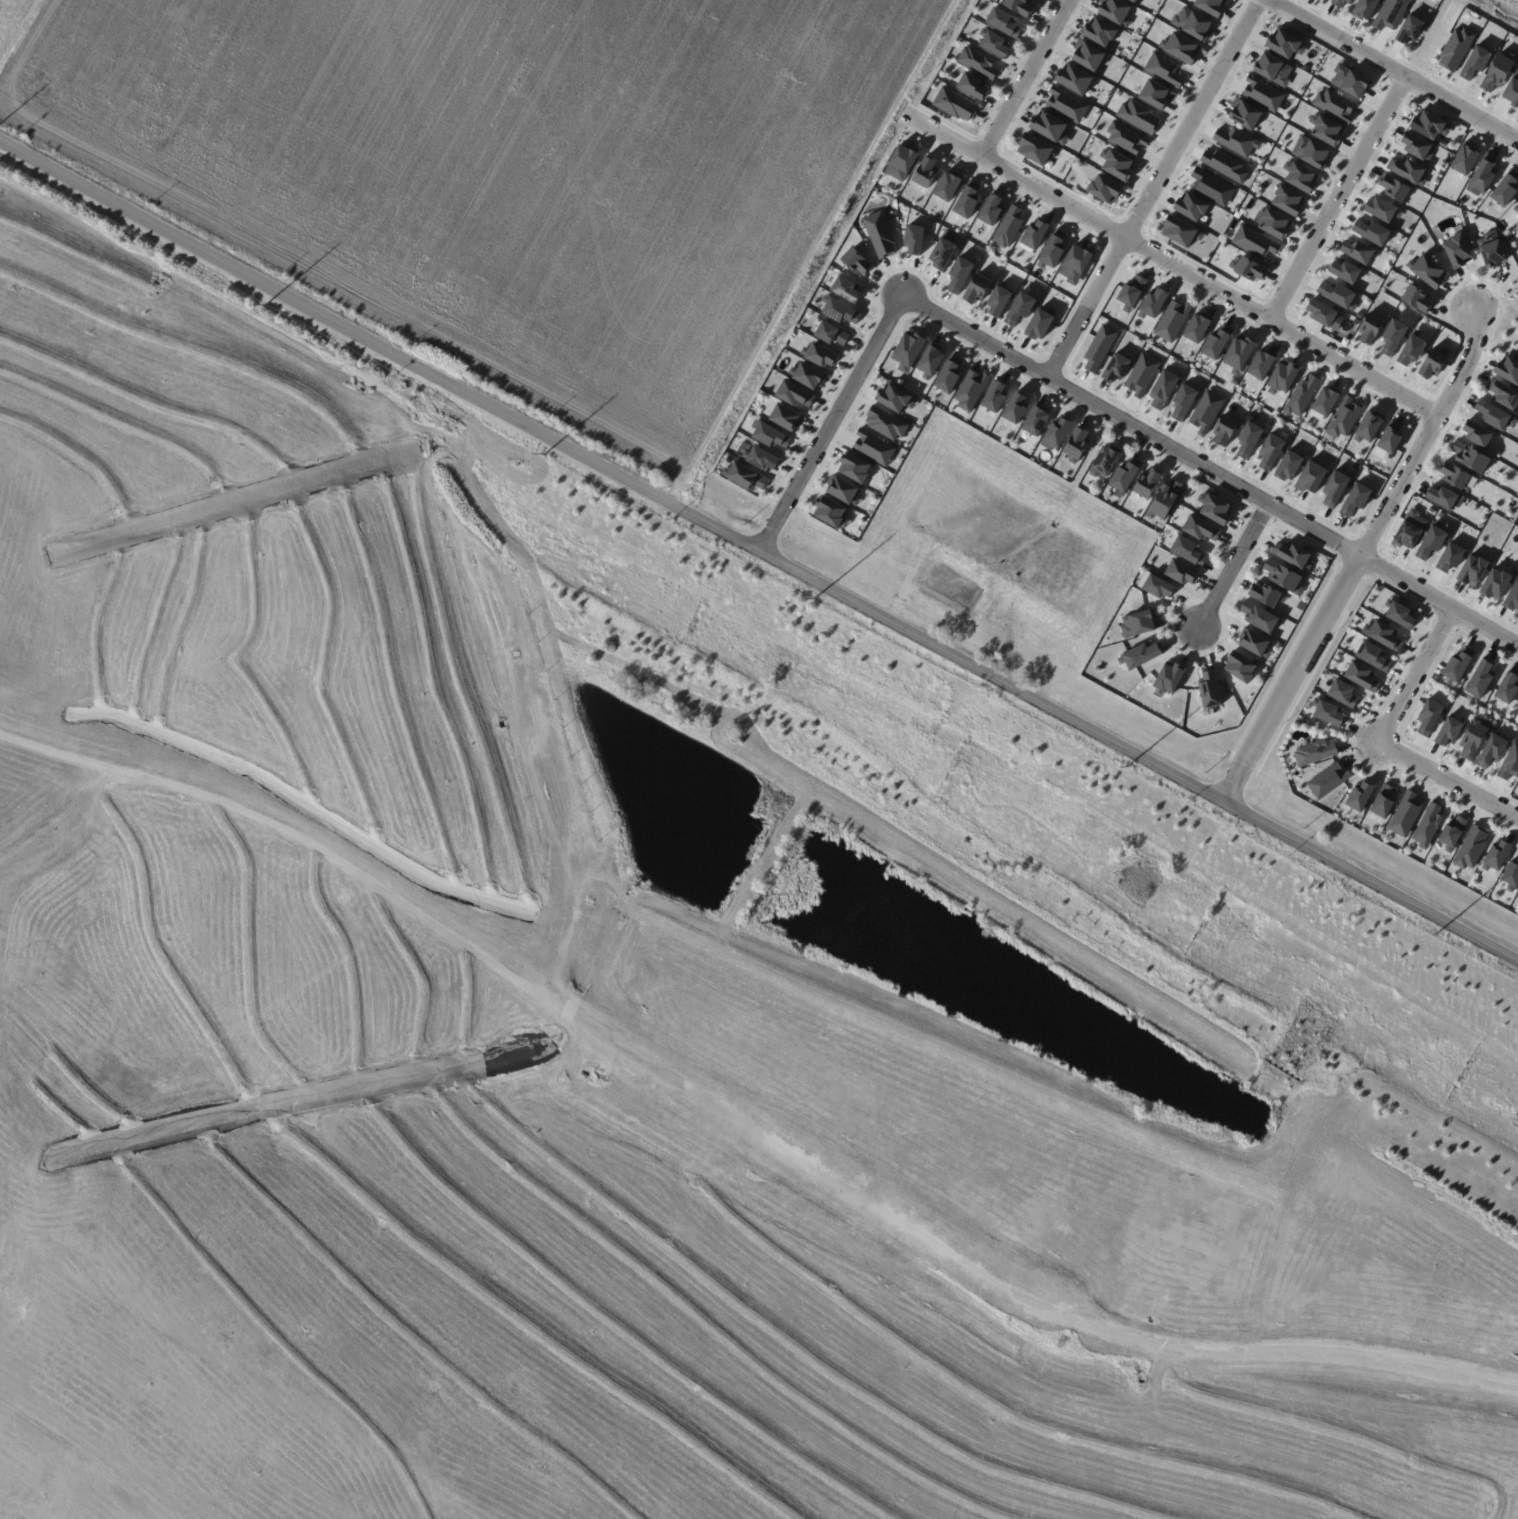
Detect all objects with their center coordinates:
building: (1134, 0)
park: (1517, 0)
building: (1131, 1)
building: (1339, 2)
building: (1018, 6)
building: (1209, 6)
building: (1364, 8)
building: (1114, 12)
building: (1389, 13)
building: (1001, 22)
building: (1191, 23)
building: (1408, 29)
building: (1098, 32)
building: (992, 43)
building: (1283, 44)
building: (1178, 47)
building: (1455, 48)
building: (1087, 56)
building: (977, 62)
building: (1474, 62)
building: (1163, 69)
building: (1272, 69)
road: (1397, 69)
building: (1497, 72)
building: (1073, 79)
road: (1023, 80)
building: (1349, 80)
building: (970, 85)
building: (1512, 89)
building: (1262, 93)
building: (1154, 94)
building: (954, 104)
building: (1333, 104)
building: (1065, 105)
building: (1243, 113)
building: (1137, 116)
building: (1429, 125)
building: (1048, 127)
building: (1326, 130)
building: (1125, 137)
building: (1236, 141)
building: (1415, 145)
building: (1033, 149)
building: (1309, 152)
building: (1464, 159)
building: (899, 162)
building: (1115, 164)
building: (1223, 165)
building: (1407, 170)
building: (924, 171)
building: (1299, 176)
building: (1480, 177)
building: (945, 185)
road: (1150, 186)
building: (1211, 187)
building: (1393, 188)
building: (1103, 189)
building: (1504, 189)
road: (1336, 195)
building: (1286, 200)
building: (964, 202)
building: (1190, 206)
building: (1516, 208)
building: (989, 209)
building: (1382, 209)
building: (1272, 223)
building: (1007, 227)
building: (1180, 231)
building: (1371, 232)
building: (879, 234)
building: (1033, 234)
building: (912, 239)
building: (1253, 242)
building: (1491, 249)
building: (1456, 250)
building: (1050, 251)
building: (1357, 251)
building: (940, 252)
building: (854, 262)
building: (1074, 263)
road: (1176, 267)
building: (1247, 268)
building: (1426, 270)
building: (1344, 271)
building: (958, 274)
building: (975, 288)
building: (844, 289)
building: (1130, 292)
building: (1337, 294)
building: (1416, 298)
building: (997, 301)
building: (1152, 303)
building: (1018, 308)
building: (839, 311)
building: (1323, 313)
building: (1171, 320)
building: (1037, 323)
building: (1369, 327)
building: (1195, 328)
building: (829, 333)
building: (1393, 336)
building: (1214, 344)
building: (1098, 347)
building: (1410, 349)
building: (906, 350)
building: (817, 354)
building: (1238, 354)
building: (928, 361)
building: (1260, 363)
building: (1431, 364)
building: (1114, 367)
building: (1508, 369)
building: (1141, 373)
building: (806, 375)
building: (945, 376)
building: (1282, 377)
building: (1162, 388)
building: (969, 389)
building: (1503, 393)
building: (792, 394)
building: (1301, 395)
building: (993, 396)
building: (893, 398)
building: (1183, 400)
building: (1324, 400)
building: (1013, 407)
building: (1205, 410)
building: (1494, 415)
building: (783, 417)
building: (1343, 417)
building: (1034, 420)
road: (828, 422)
building: (884, 423)
building: (1367, 426)
building: (1224, 429)
building: (1054, 433)
building: (1476, 433)
building: (768, 435)
building: (1248, 438)
building: (1389, 438)
building: (480, 440)
building: (1075, 444)
building: (872, 447)
building: (1270, 450)
building: (1470, 457)
building: (759, 458)
building: (1102, 461)
building: (1288, 465)
building: (853, 467)
road: (1209, 468)
building: (1454, 475)
building: (745, 476)
building: (1310, 476)
building: (1122, 478)
building: (1145, 482)
building: (1334, 487)
building: (841, 490)
building: (1443, 497)
building: (1164, 498)
building: (1354, 499)
building: (1213, 508)
building: (829, 512)
building: (1199, 528)
building: (1409, 529)
building: (1430, 542)
building: (1187, 550)
road: (759, 553)
building: (1290, 554)
building: (1449, 556)
road: (1355, 558)
road: (1233, 564)
building: (1472, 570)
building: (1179, 571)
building: (1283, 576)
building: (1495, 583)
building: (1157, 586)
building: (1265, 594)
building: (1512, 597)
building: (1400, 615)
building: (1261, 619)
building: (1135, 623)
building: (1382, 634)
building: (1254, 643)
building: (1138, 655)
building: (1372, 656)
building: (1456, 666)
building: (1241, 668)
road: (1414, 673)
building: (1361, 676)
building: (1167, 678)
building: (1479, 678)
building: (1506, 687)
building: (1208, 689)
building: (1342, 692)
building: (1326, 712)
building: (1428, 716)
building: (1448, 731)
building: (1472, 738)
building: (1491, 750)
building: (1313, 751)
building: (1509, 762)
building: (1328, 779)
road: (1447, 779)
building: (1359, 796)
building: (1382, 801)
building: (1404, 814)
building: (1427, 825)
building: (1452, 833)
building: (1470, 847)
building: (1496, 855)
building: (1511, 875)
building: (1517, 896)
building: (1517, 898)
landfill: (539, 1070)

